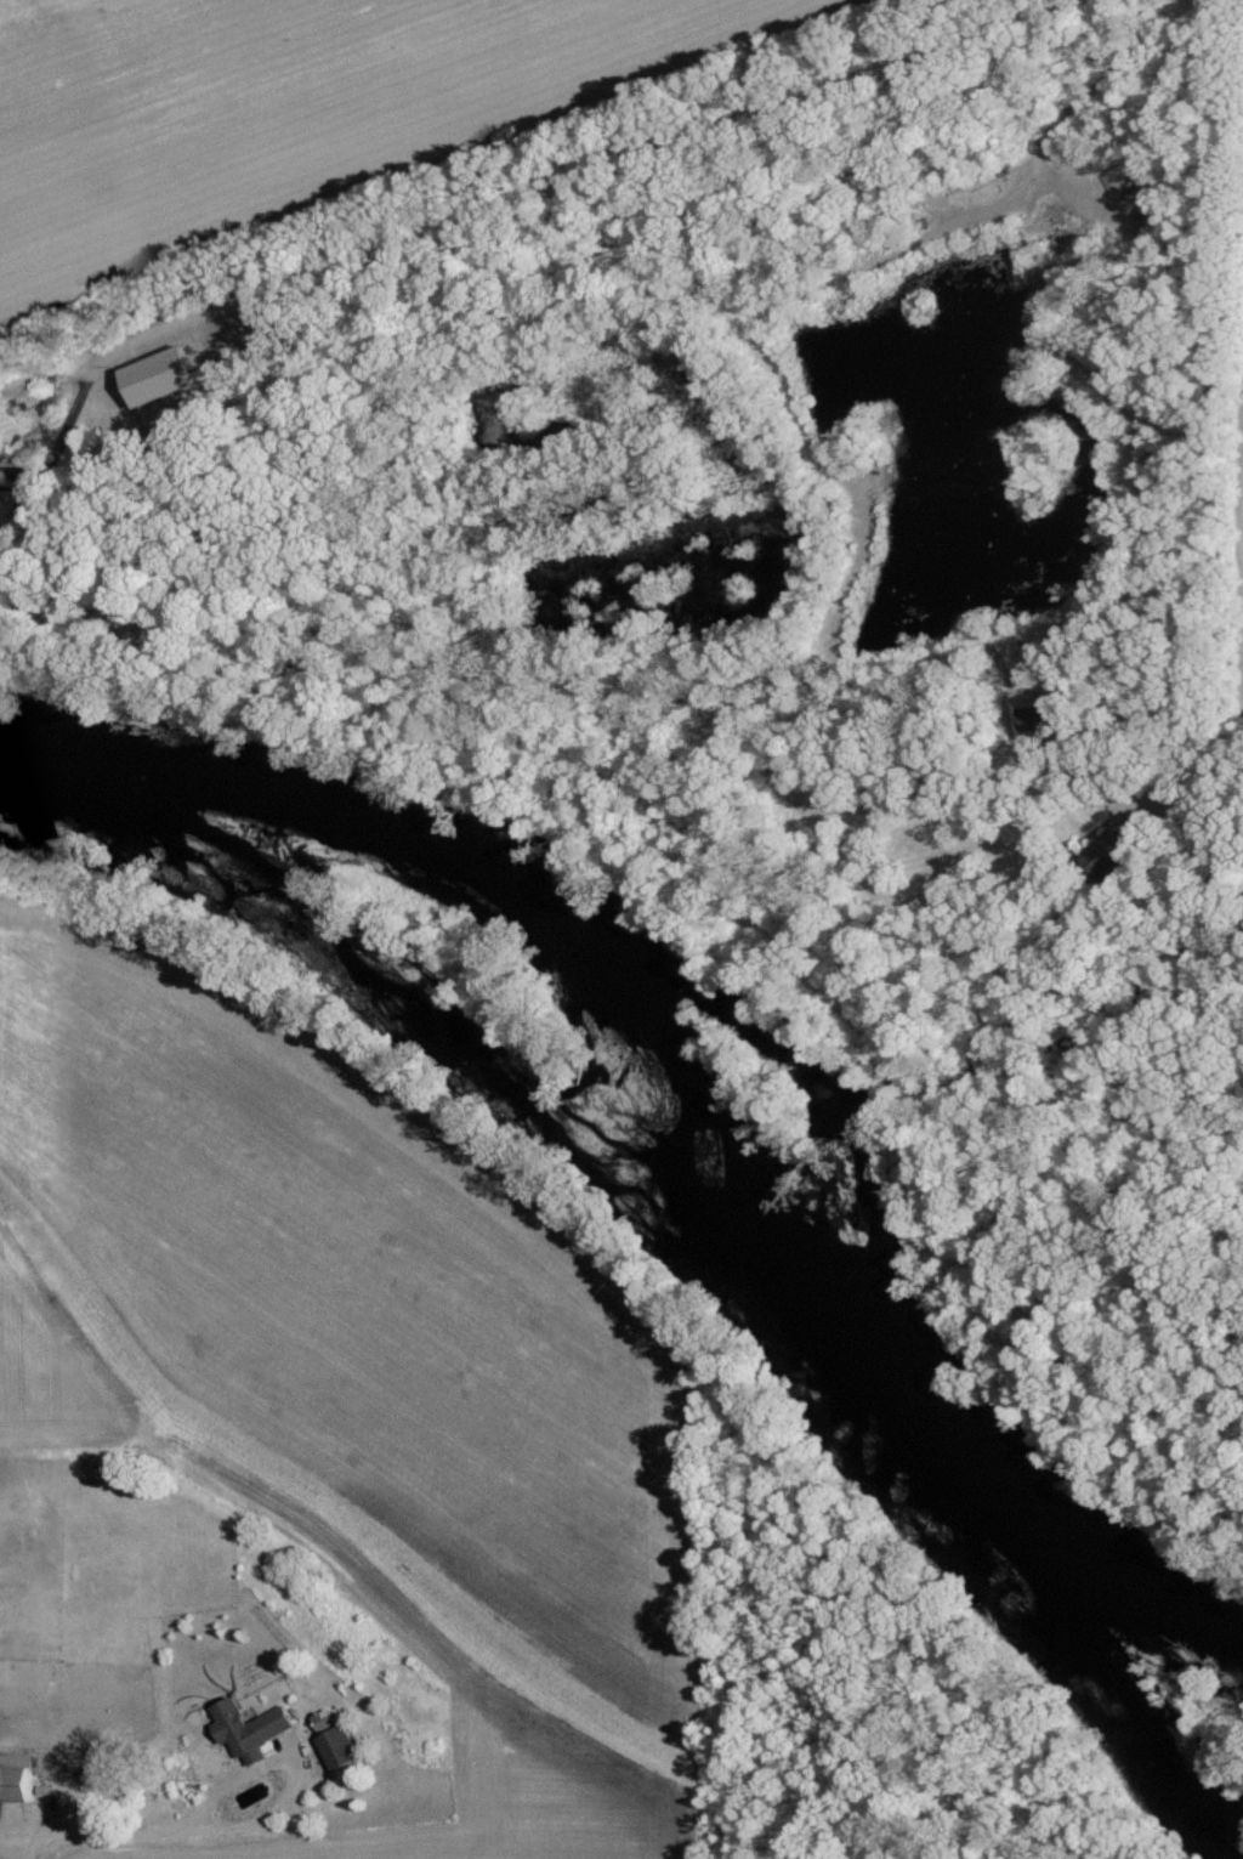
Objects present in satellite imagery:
road: (513, 199)
road: (1207, 410)
building: (5, 501)
building: (1035, 715)
building: (1109, 855)
river: (662, 1196)
building: (325, 1721)
building: (250, 1729)
building: (340, 1749)
building: (16, 1778)
road: (117, 1830)

